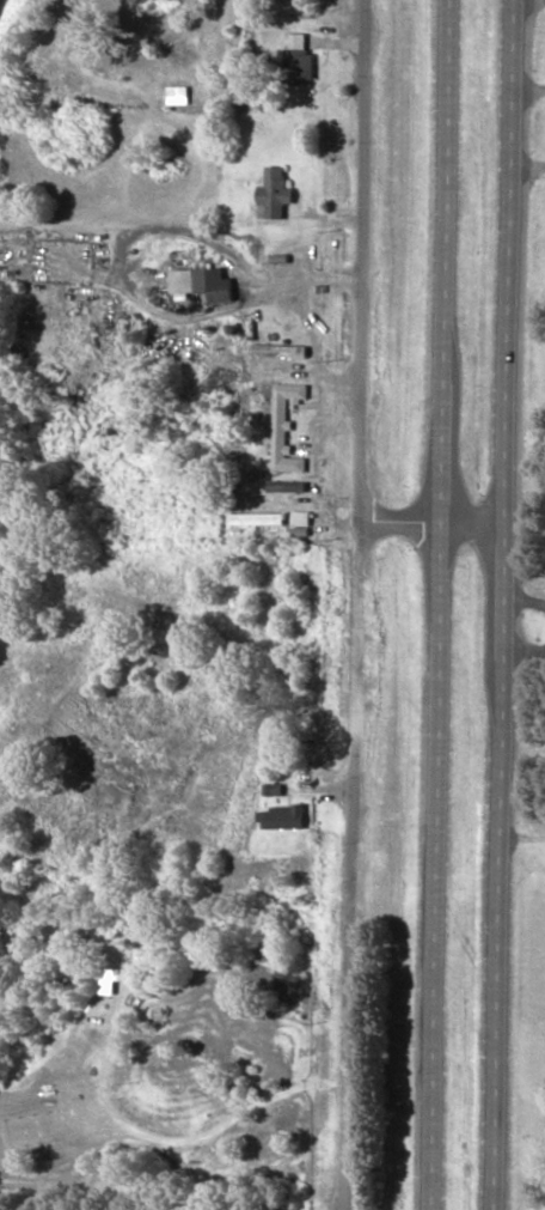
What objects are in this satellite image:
building: (302, 66)
building: (277, 196)
road: (183, 232)
building: (202, 284)
road: (295, 341)
building: (281, 437)
building: (258, 519)
road: (453, 521)
building: (302, 524)
road: (361, 604)
road: (442, 604)
road: (508, 604)
building: (290, 817)
road: (348, 1194)

